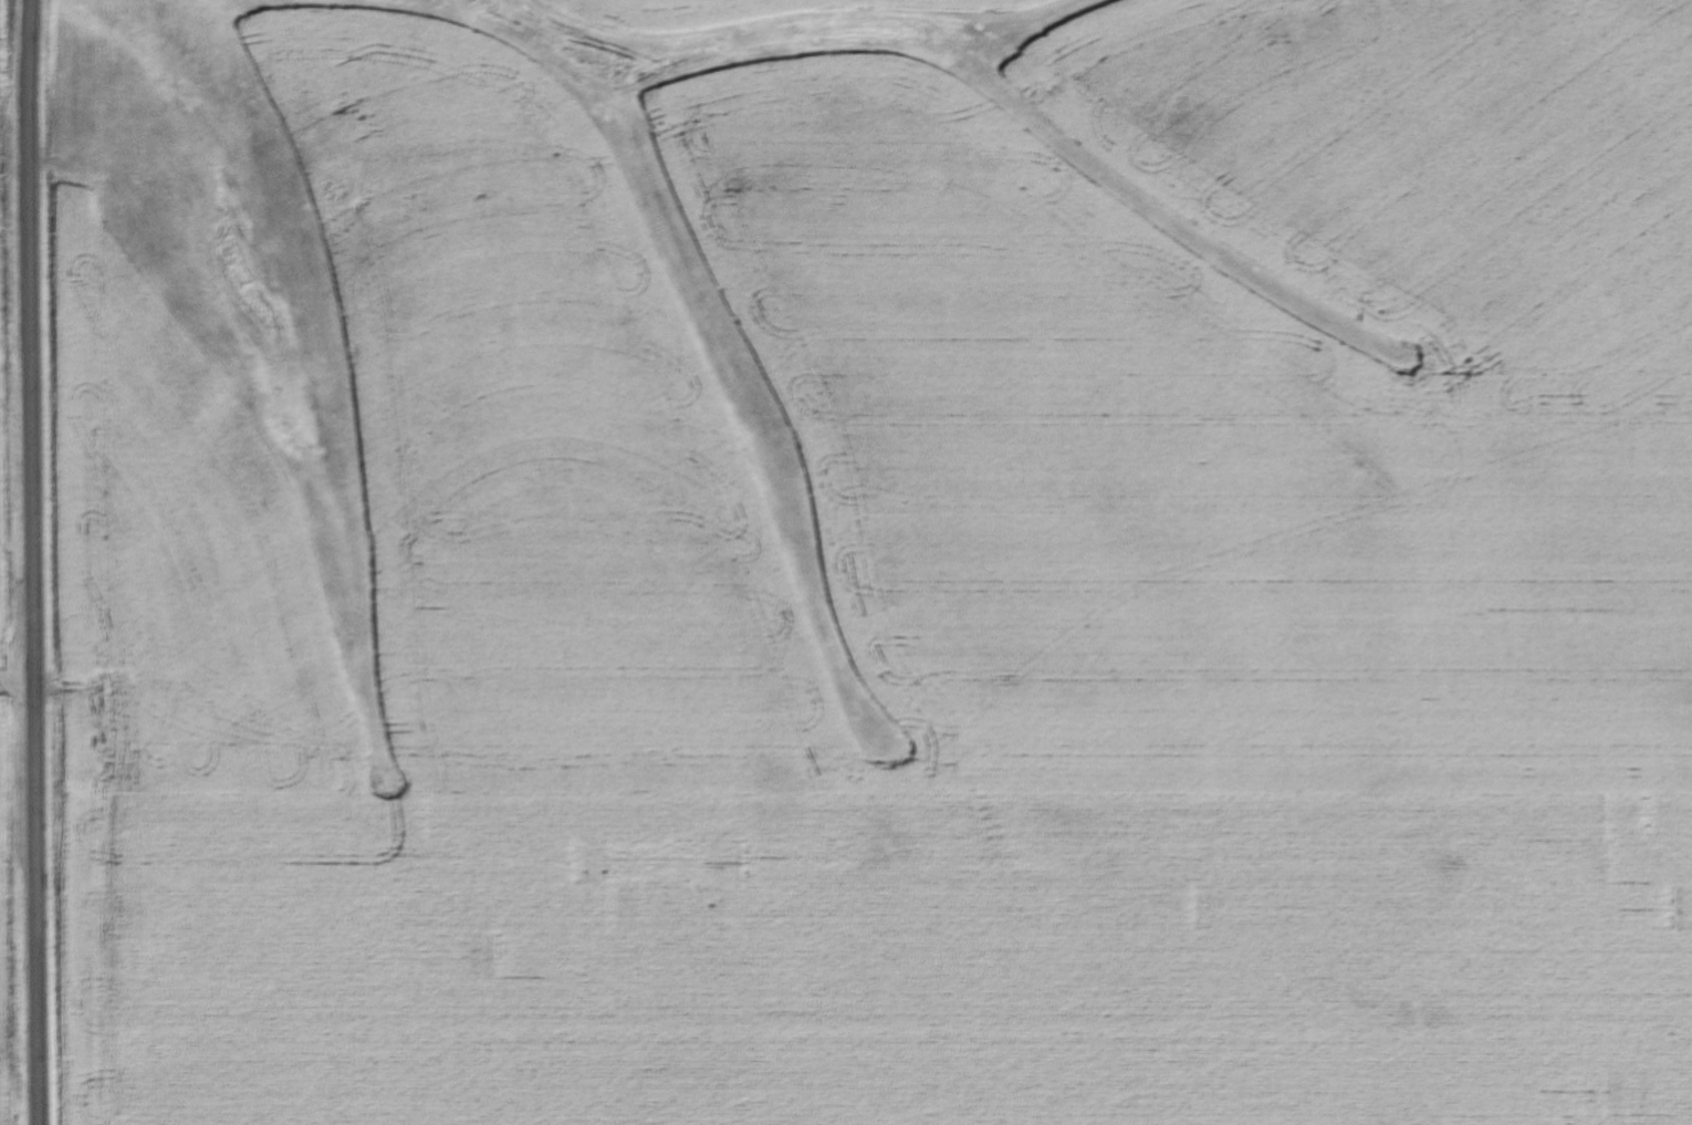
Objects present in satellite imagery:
road: (33, 562)
road: (17, 686)

